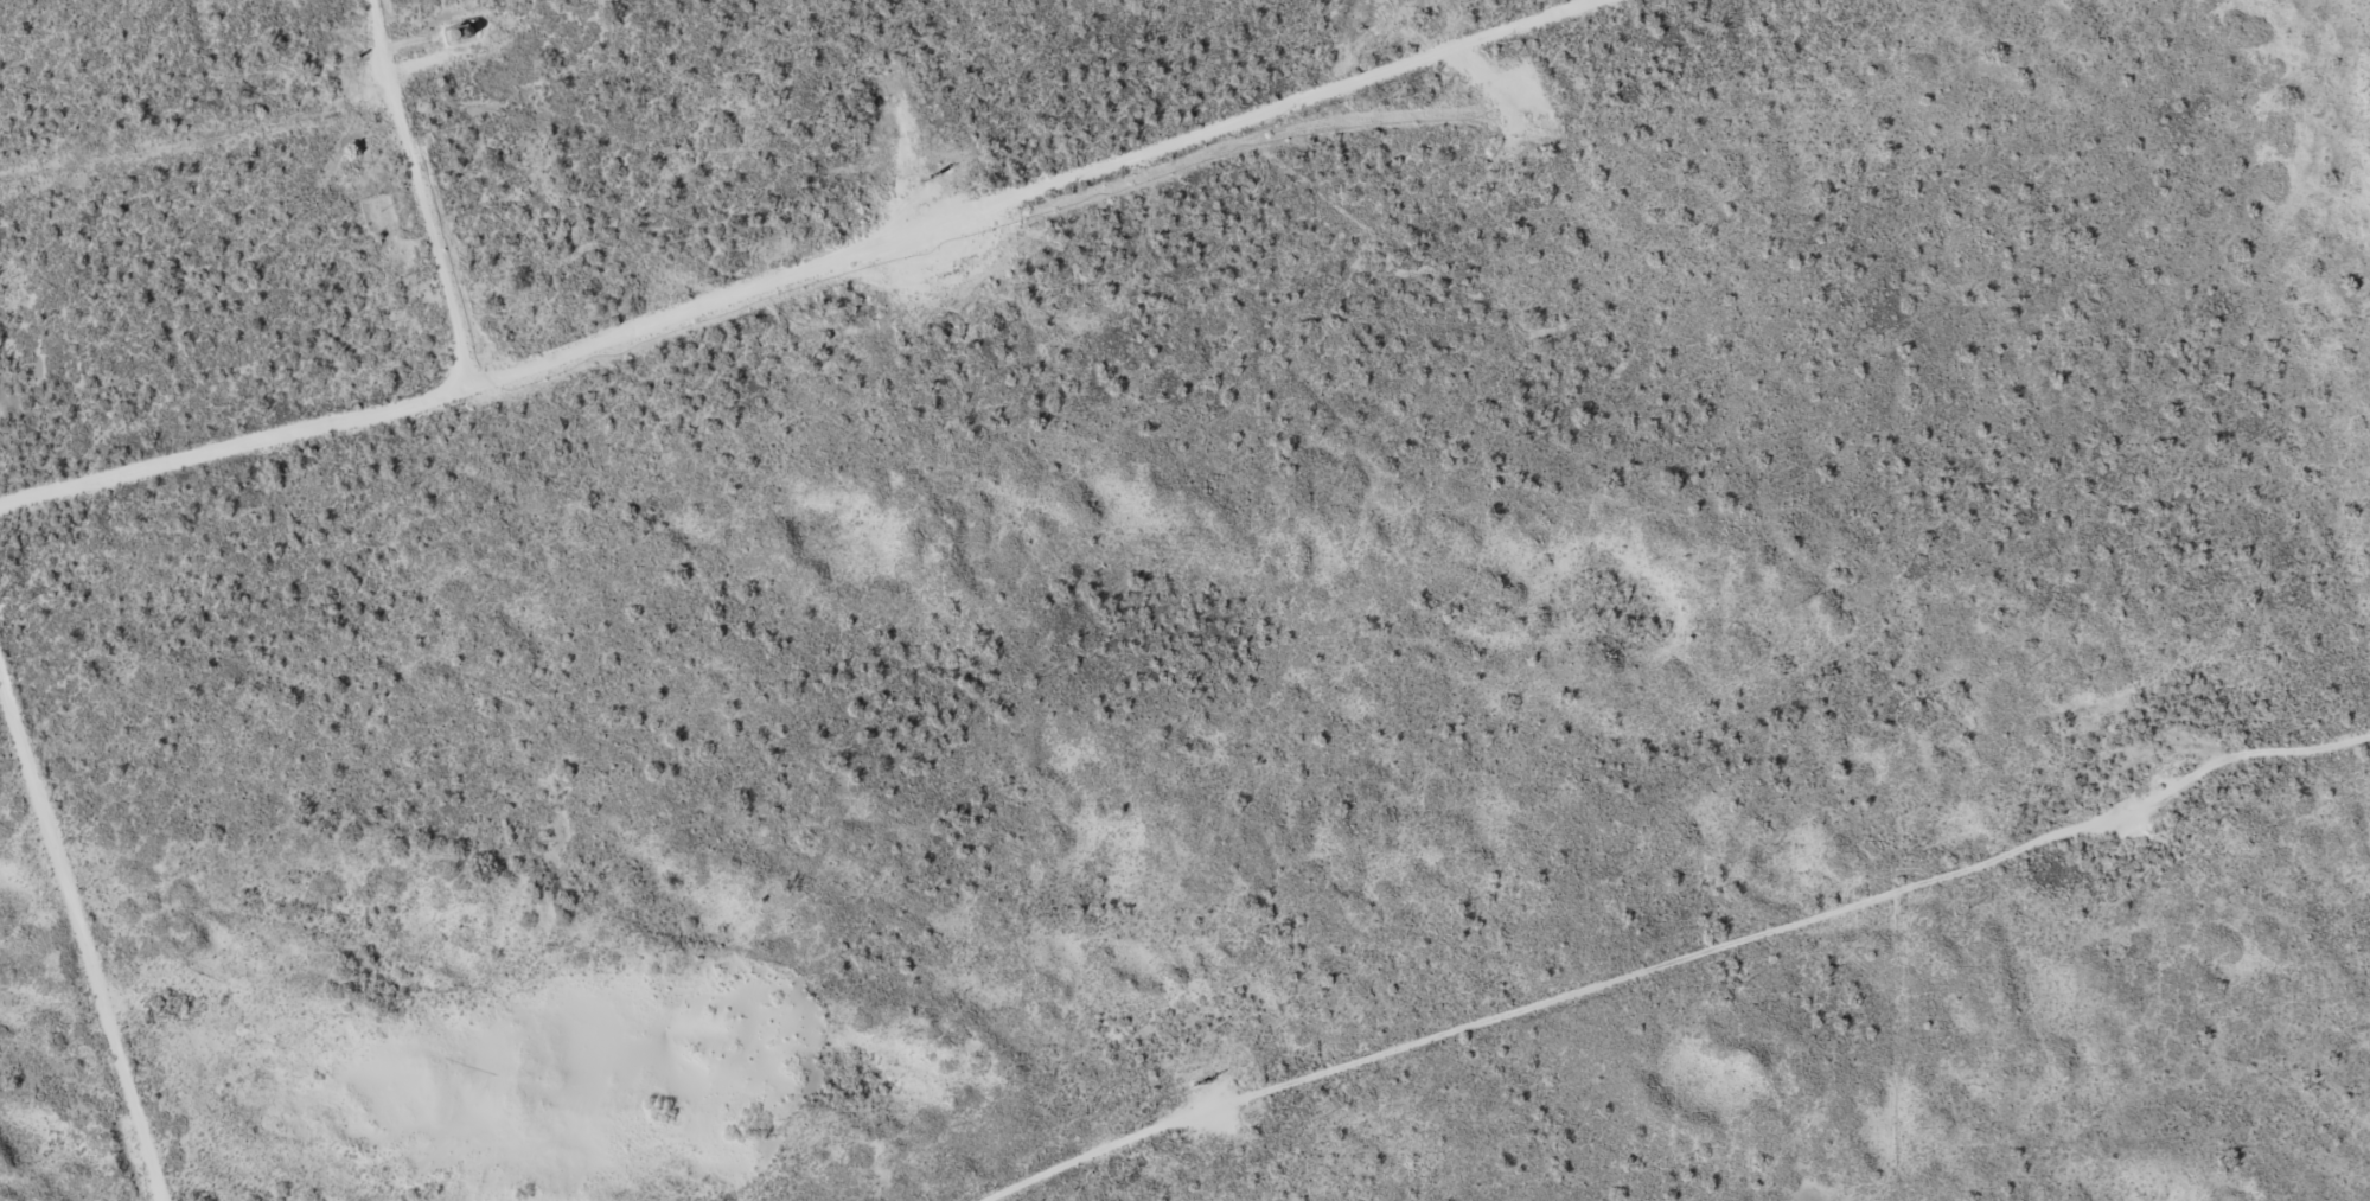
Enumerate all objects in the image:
road: (838, 262)
road: (258, 497)
road: (88, 928)
road: (1712, 978)

